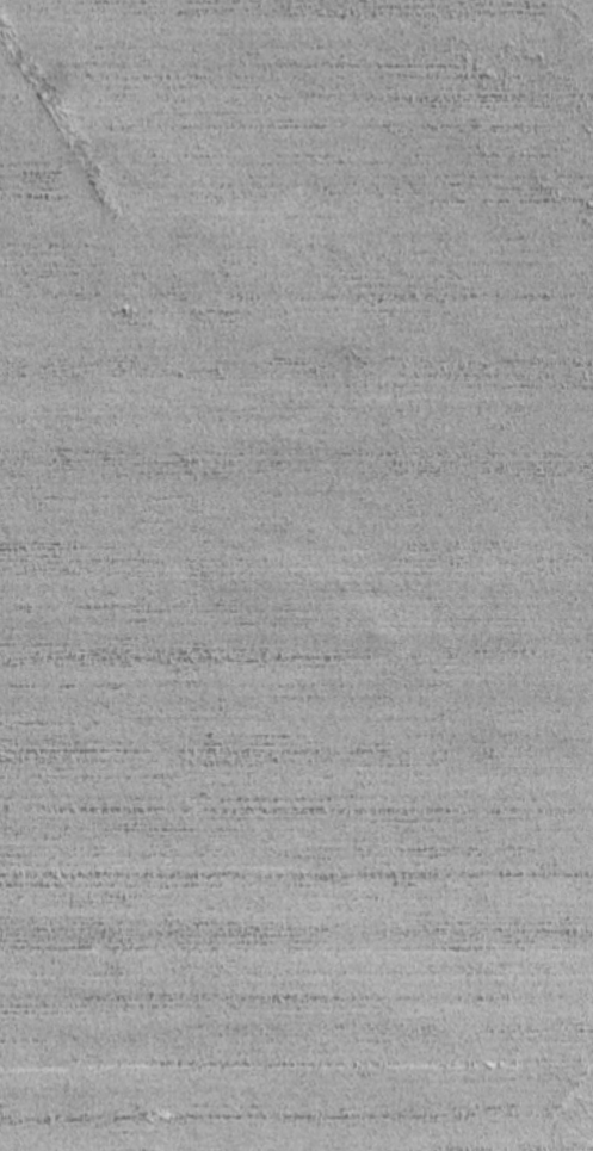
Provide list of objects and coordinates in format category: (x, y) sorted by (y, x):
road: (227, 922)

